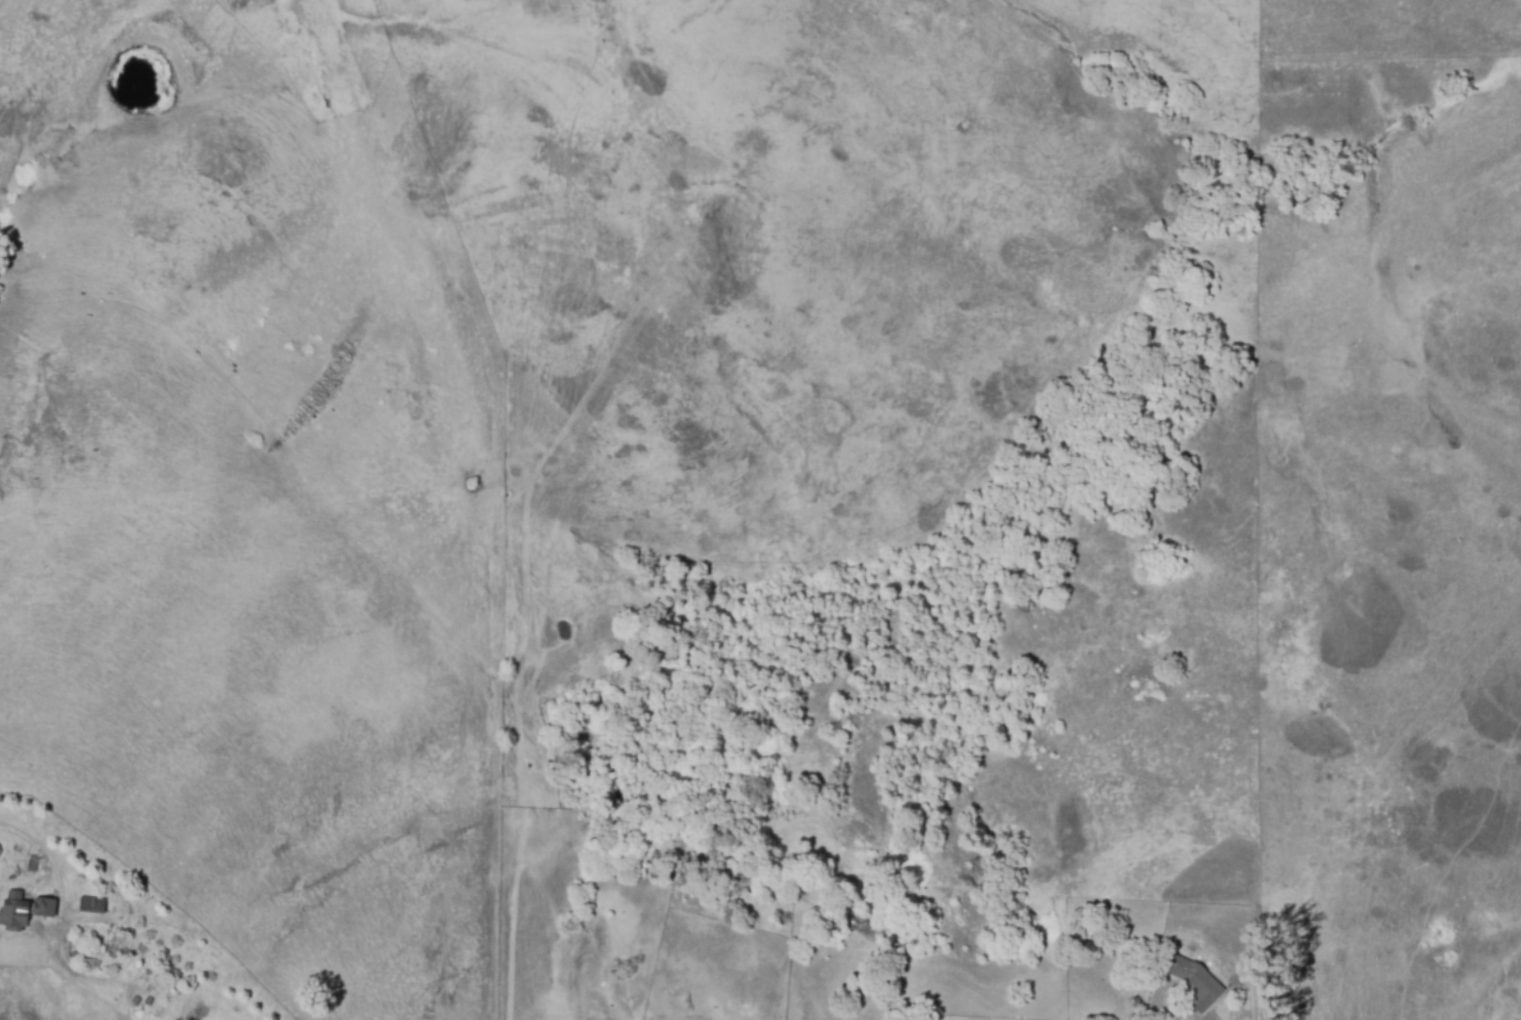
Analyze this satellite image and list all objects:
road: (49, 853)
building: (31, 864)
building: (92, 907)
building: (43, 908)
building: (14, 912)
building: (1192, 970)
road: (1175, 1011)

